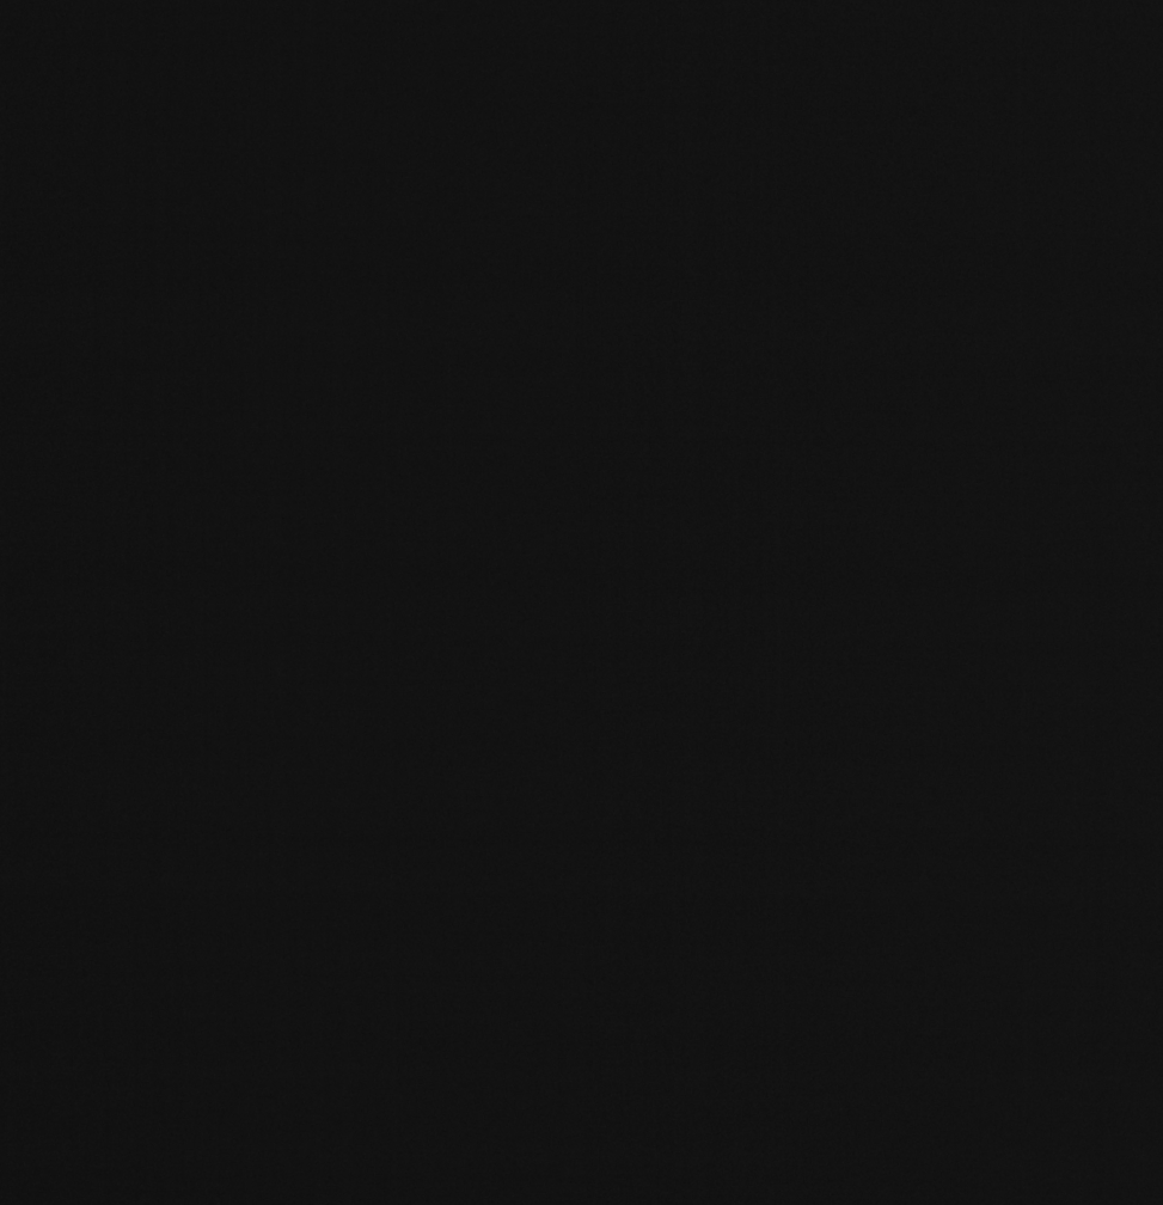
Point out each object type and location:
river: (173, 996)

